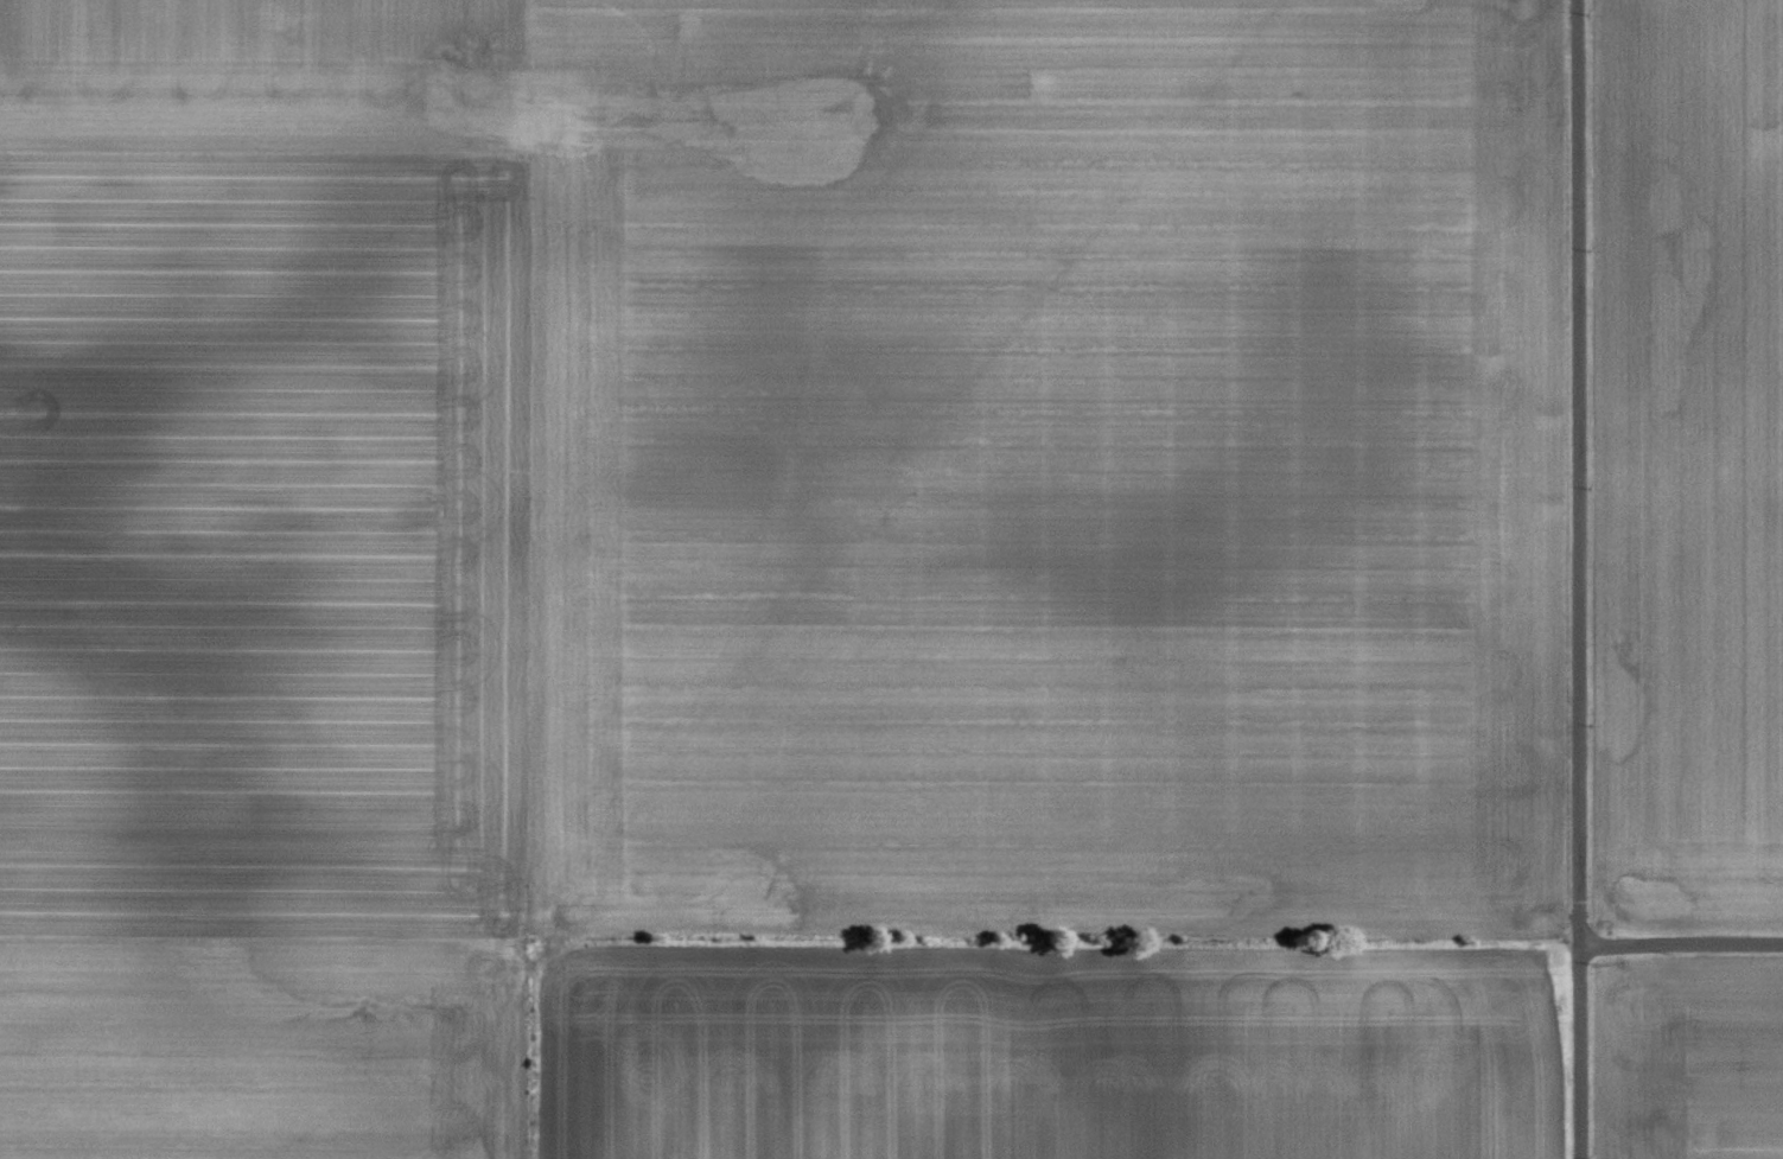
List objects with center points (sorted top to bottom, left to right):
road: (1575, 579)
road: (1680, 942)

